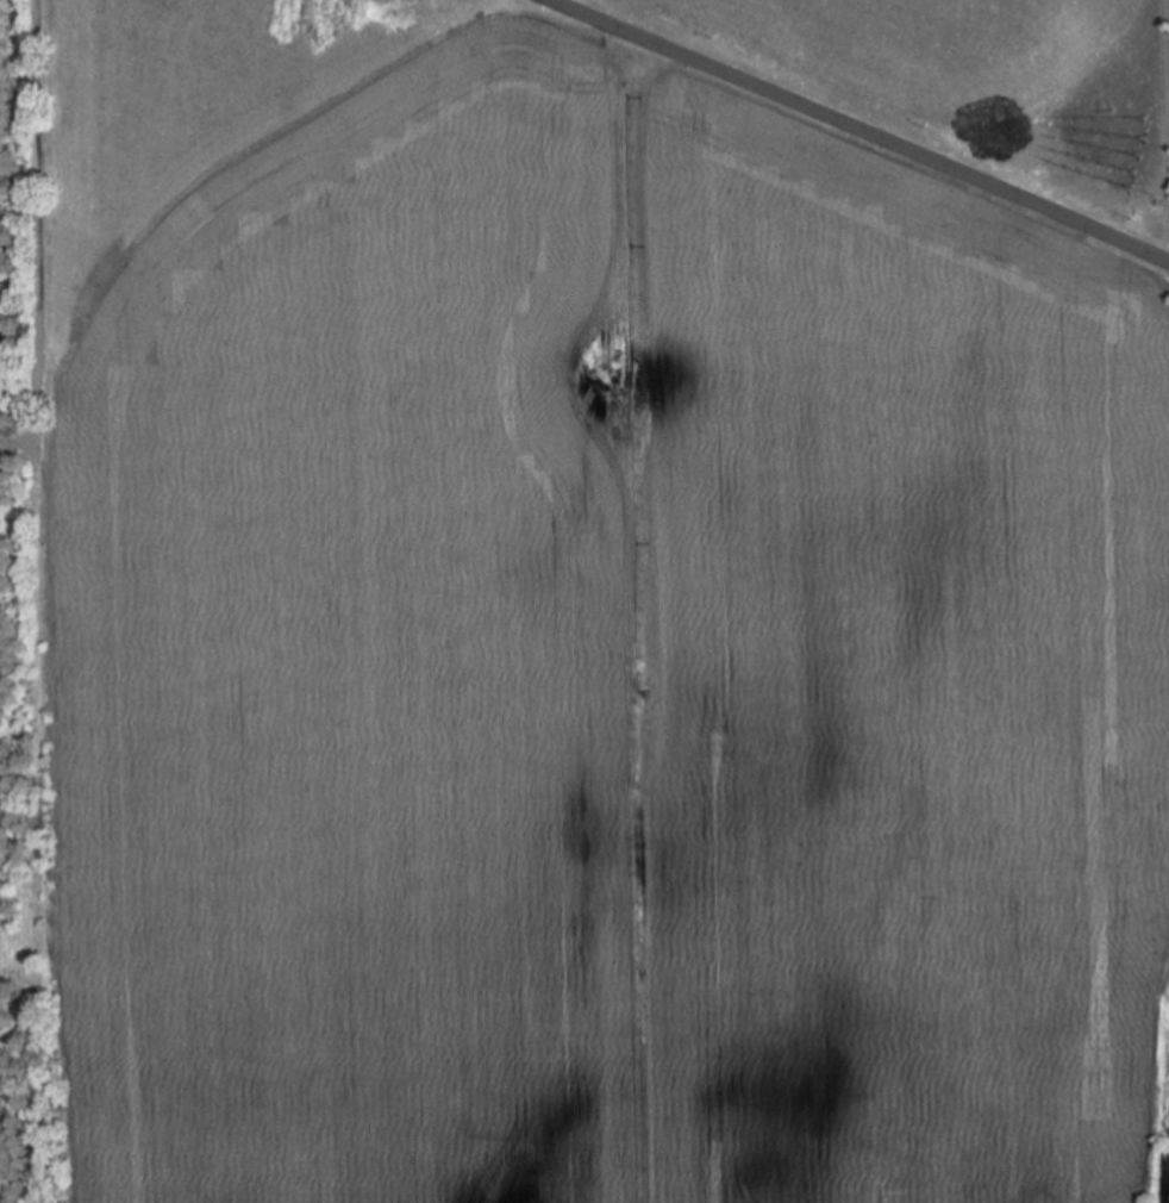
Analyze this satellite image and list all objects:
road: (852, 131)

